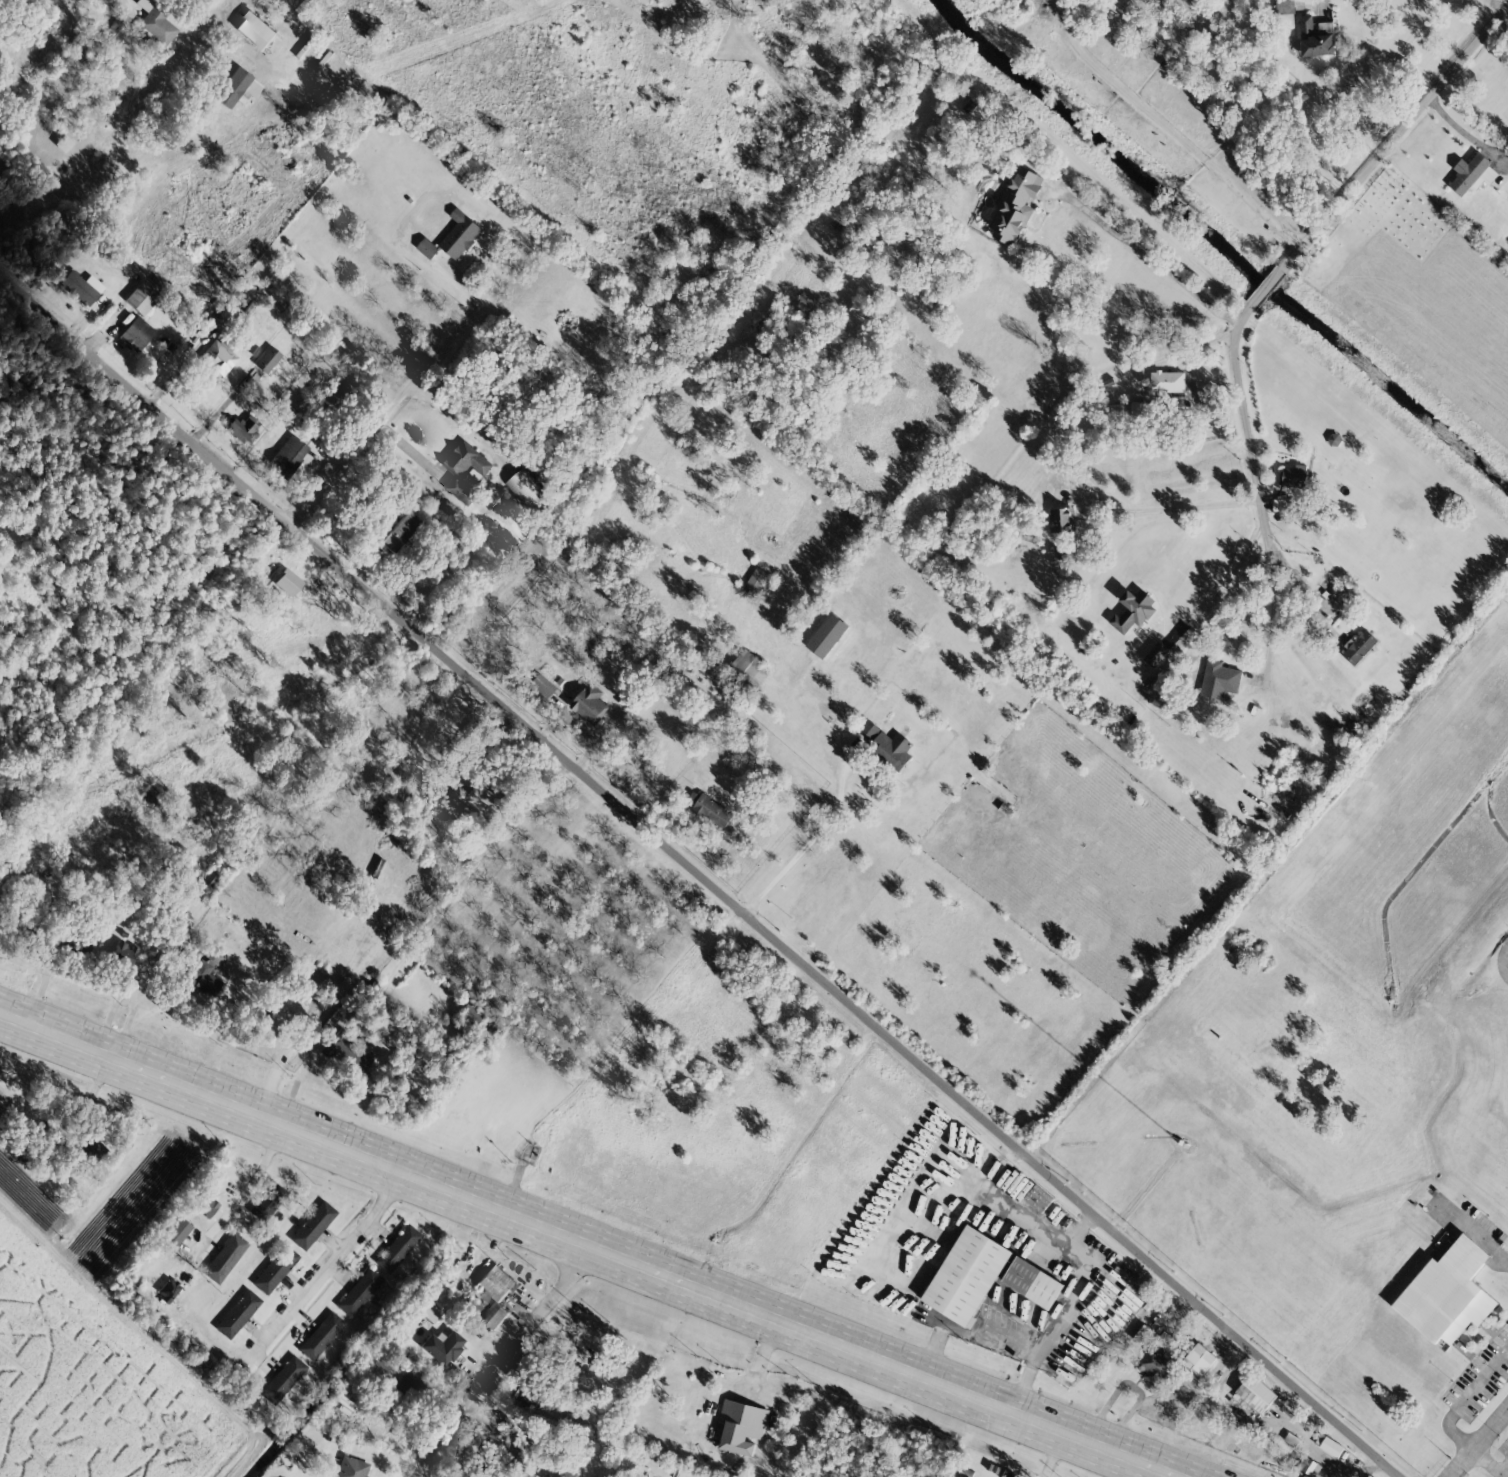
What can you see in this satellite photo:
road: (1495, 5)
building: (156, 21)
building: (255, 30)
road: (231, 35)
building: (1315, 39)
road: (1170, 129)
building: (63, 143)
building: (1473, 174)
building: (1015, 206)
building: (460, 234)
road: (1302, 243)
building: (427, 248)
road: (1148, 252)
building: (81, 287)
building: (141, 297)
building: (228, 312)
building: (136, 333)
road: (1182, 350)
building: (218, 357)
building: (266, 359)
building: (1166, 382)
building: (335, 392)
road: (224, 404)
road: (388, 405)
road: (280, 407)
building: (241, 429)
building: (286, 456)
building: (465, 470)
building: (1294, 476)
building: (525, 489)
building: (1281, 504)
road: (1168, 509)
building: (1061, 519)
building: (399, 531)
building: (287, 582)
building: (756, 582)
road: (1223, 586)
road: (1273, 604)
building: (1133, 610)
building: (827, 635)
building: (1359, 646)
building: (1156, 653)
building: (750, 667)
building: (1221, 676)
building: (540, 688)
building: (590, 704)
building: (869, 730)
building: (892, 749)
building: (387, 796)
building: (470, 803)
road: (835, 808)
building: (713, 811)
road: (701, 873)
building: (204, 975)
road: (115, 999)
road: (130, 1015)
road: (296, 1044)
building: (346, 1050)
road: (243, 1189)
building: (268, 1201)
building: (312, 1225)
building: (177, 1231)
road: (1476, 1235)
road: (590, 1247)
building: (396, 1248)
building: (224, 1257)
road: (329, 1262)
building: (274, 1269)
building: (966, 1275)
road: (1083, 1279)
building: (1032, 1282)
building: (168, 1289)
building: (358, 1292)
building: (1447, 1293)
building: (489, 1295)
building: (427, 1309)
building: (237, 1313)
road: (992, 1331)
building: (1140, 1333)
building: (320, 1335)
building: (441, 1346)
road: (933, 1350)
road: (760, 1358)
building: (1157, 1359)
road: (500, 1360)
building: (1198, 1360)
building: (282, 1379)
road: (1025, 1379)
building: (408, 1382)
building: (1256, 1393)
road: (1465, 1397)
building: (741, 1426)
road: (1477, 1441)
building: (1329, 1445)
road: (1048, 1453)
road: (1487, 1463)
building: (1309, 1466)
building: (351, 1467)

